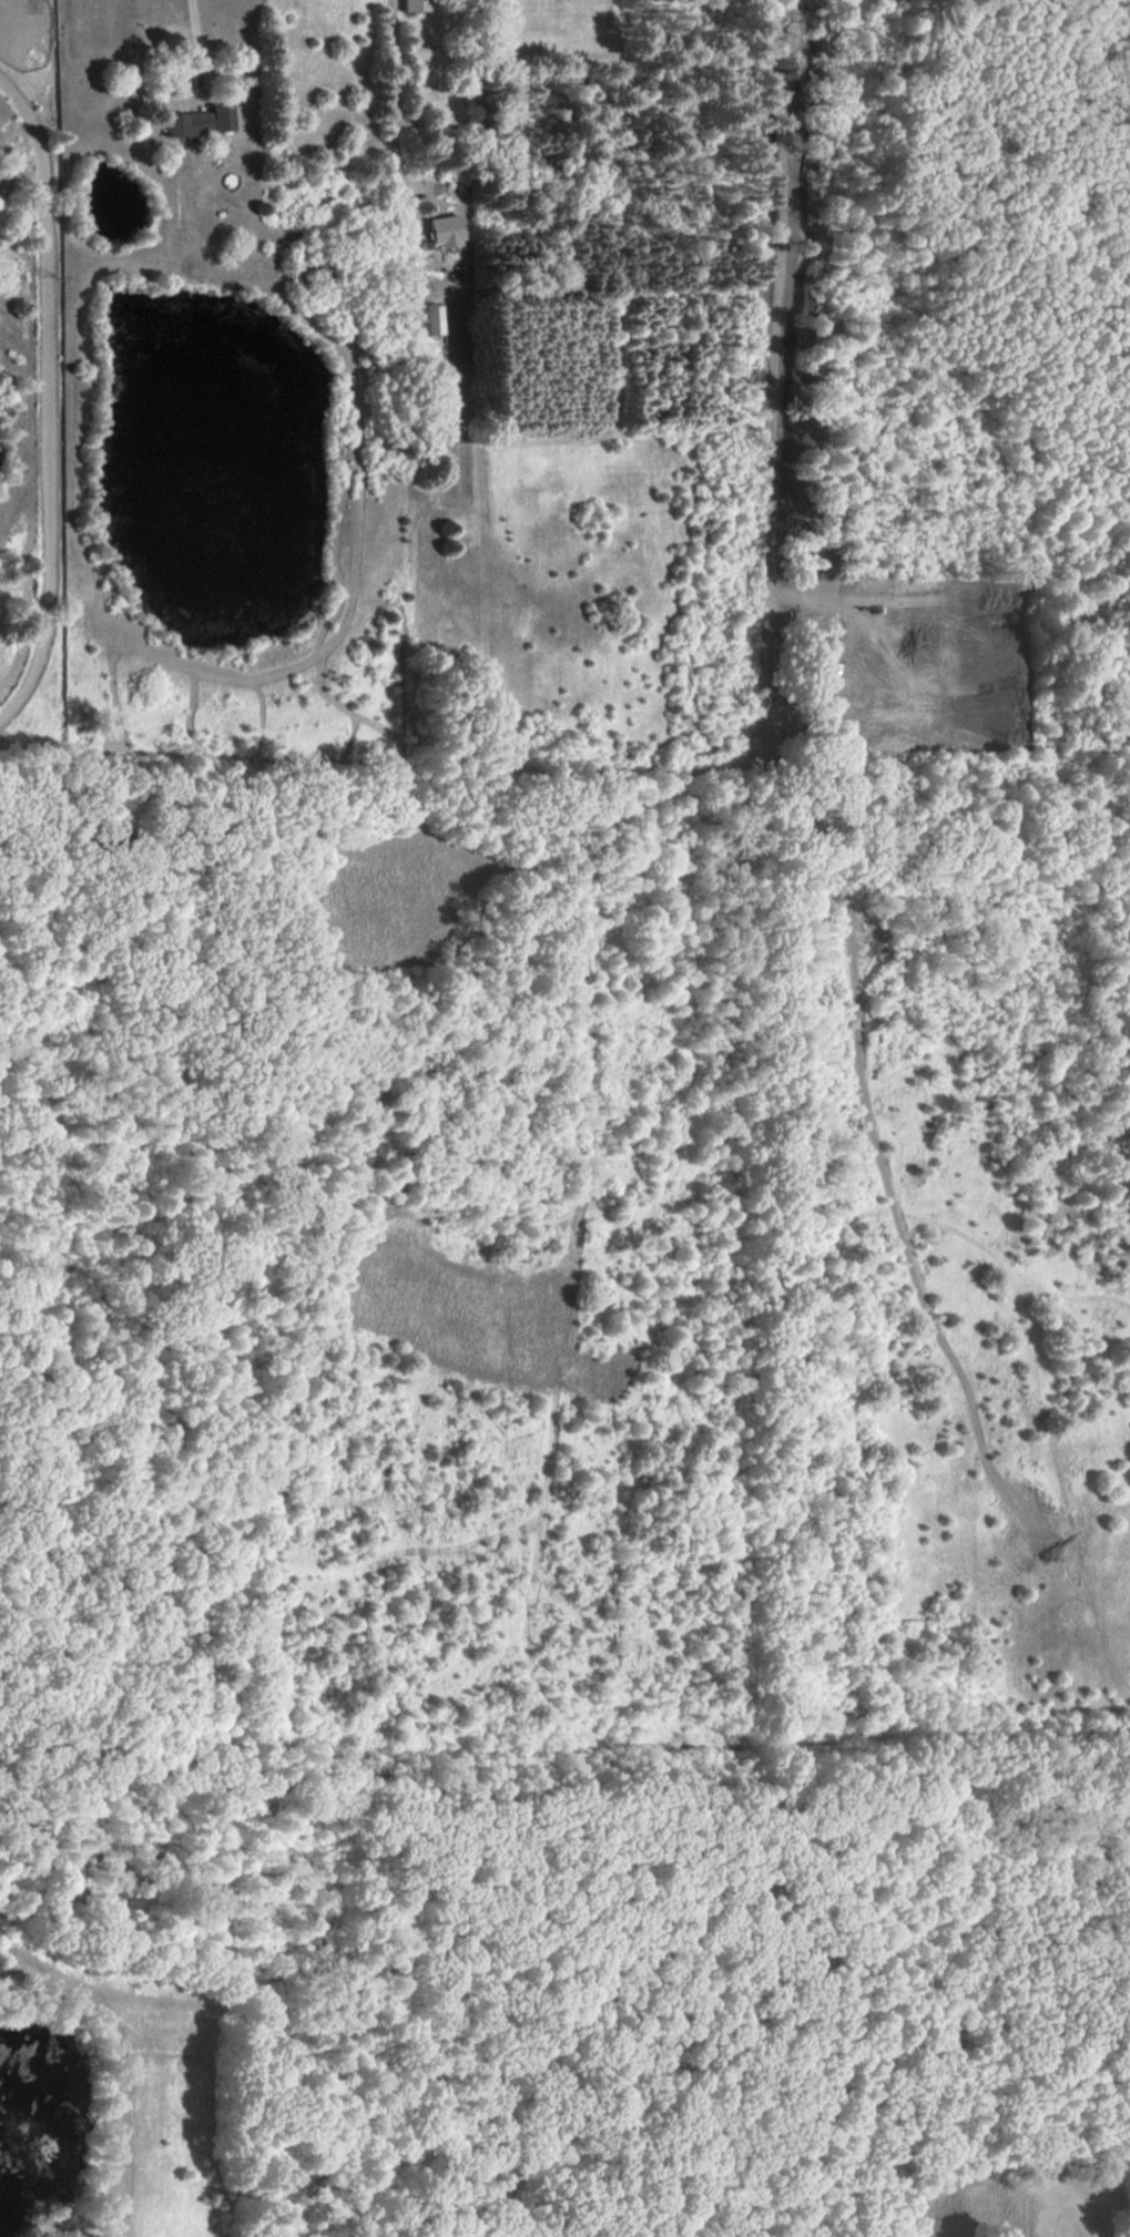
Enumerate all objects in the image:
road: (197, 48)
road: (391, 109)
building: (198, 121)
building: (426, 318)

